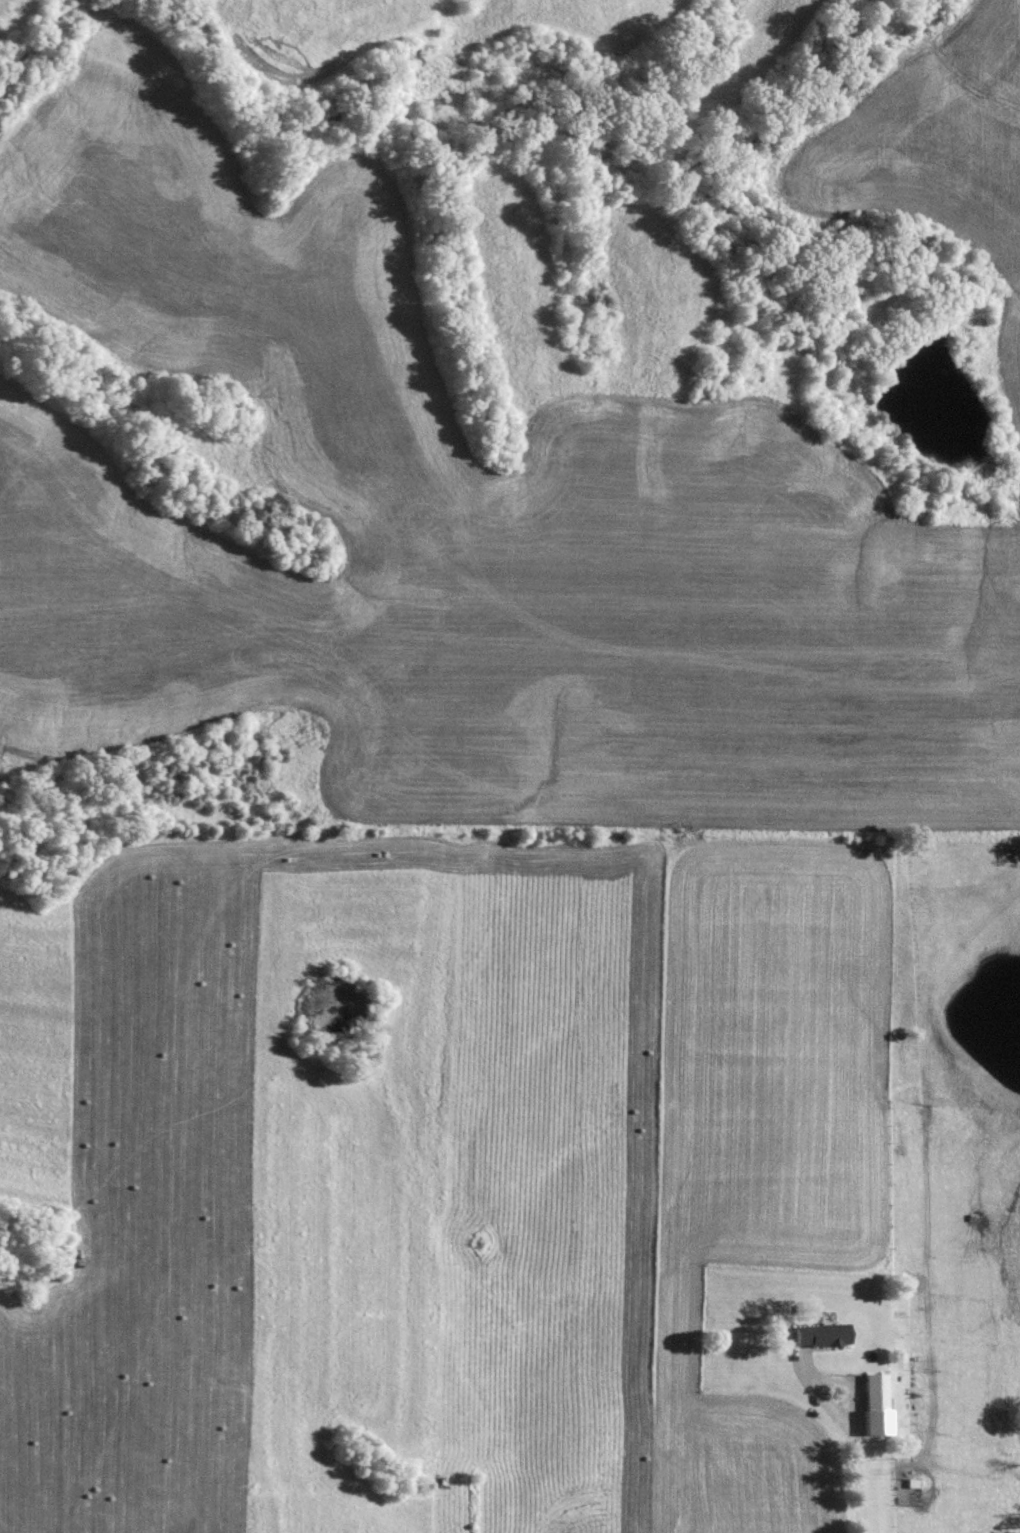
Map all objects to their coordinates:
building: (818, 1334)
building: (870, 1391)

